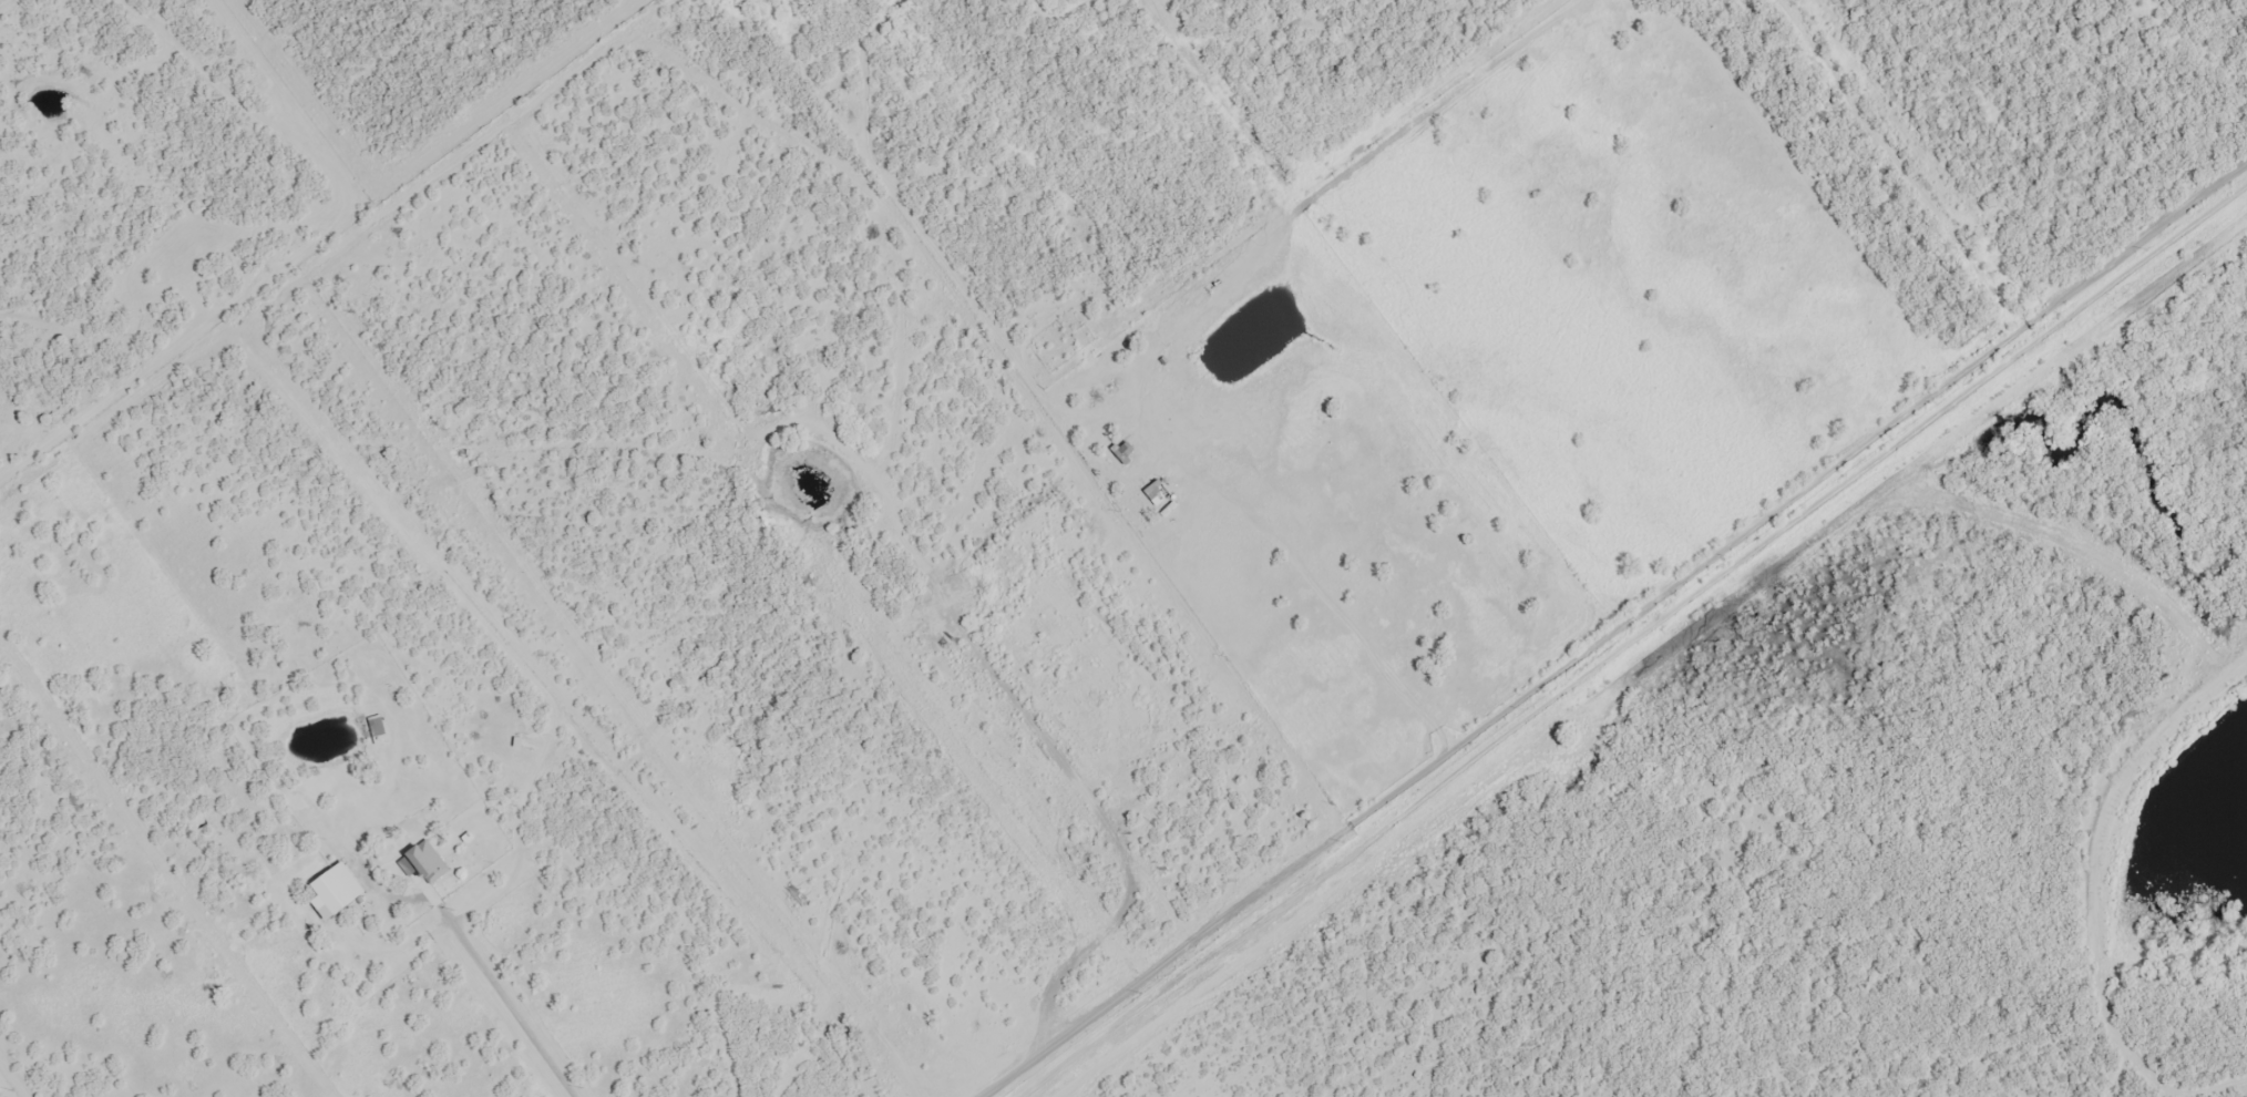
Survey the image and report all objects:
building: (1159, 493)
road: (1624, 642)
building: (378, 730)
building: (423, 862)
building: (336, 890)

